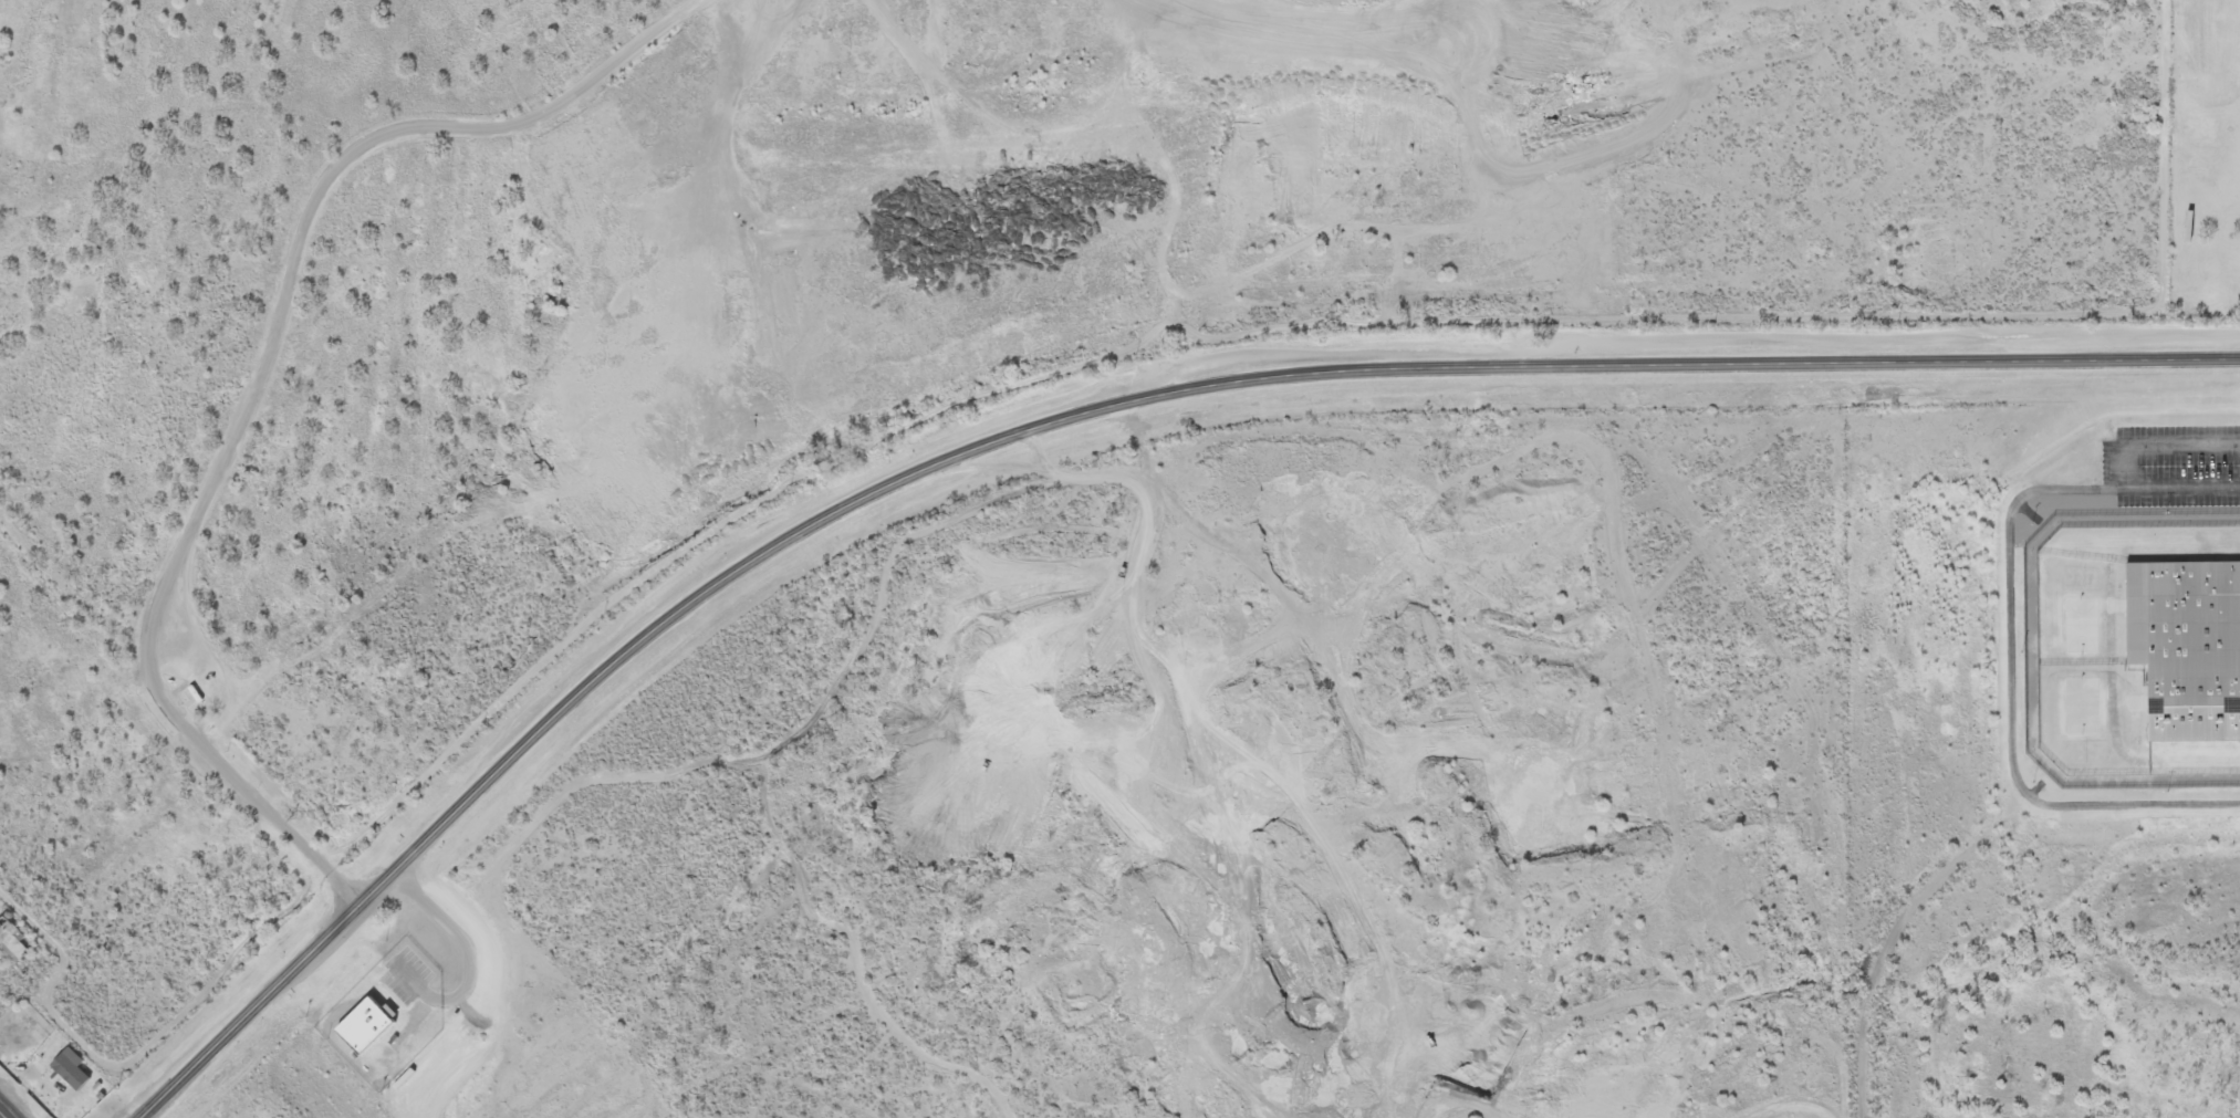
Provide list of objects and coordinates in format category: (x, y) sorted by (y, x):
road: (251, 386)
road: (1067, 421)
building: (2184, 647)
road: (1898, 937)
building: (376, 1022)
road: (2, 1115)

